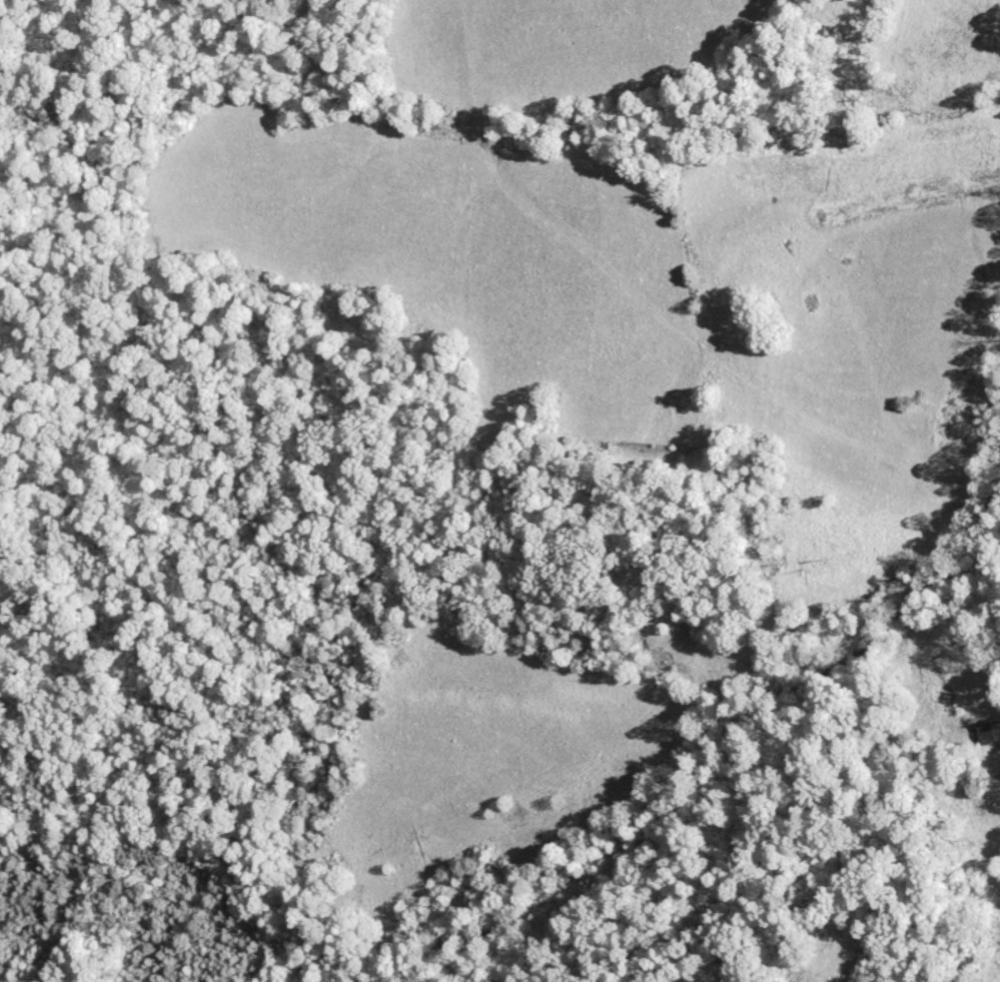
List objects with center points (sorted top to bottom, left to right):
building: (991, 732)

